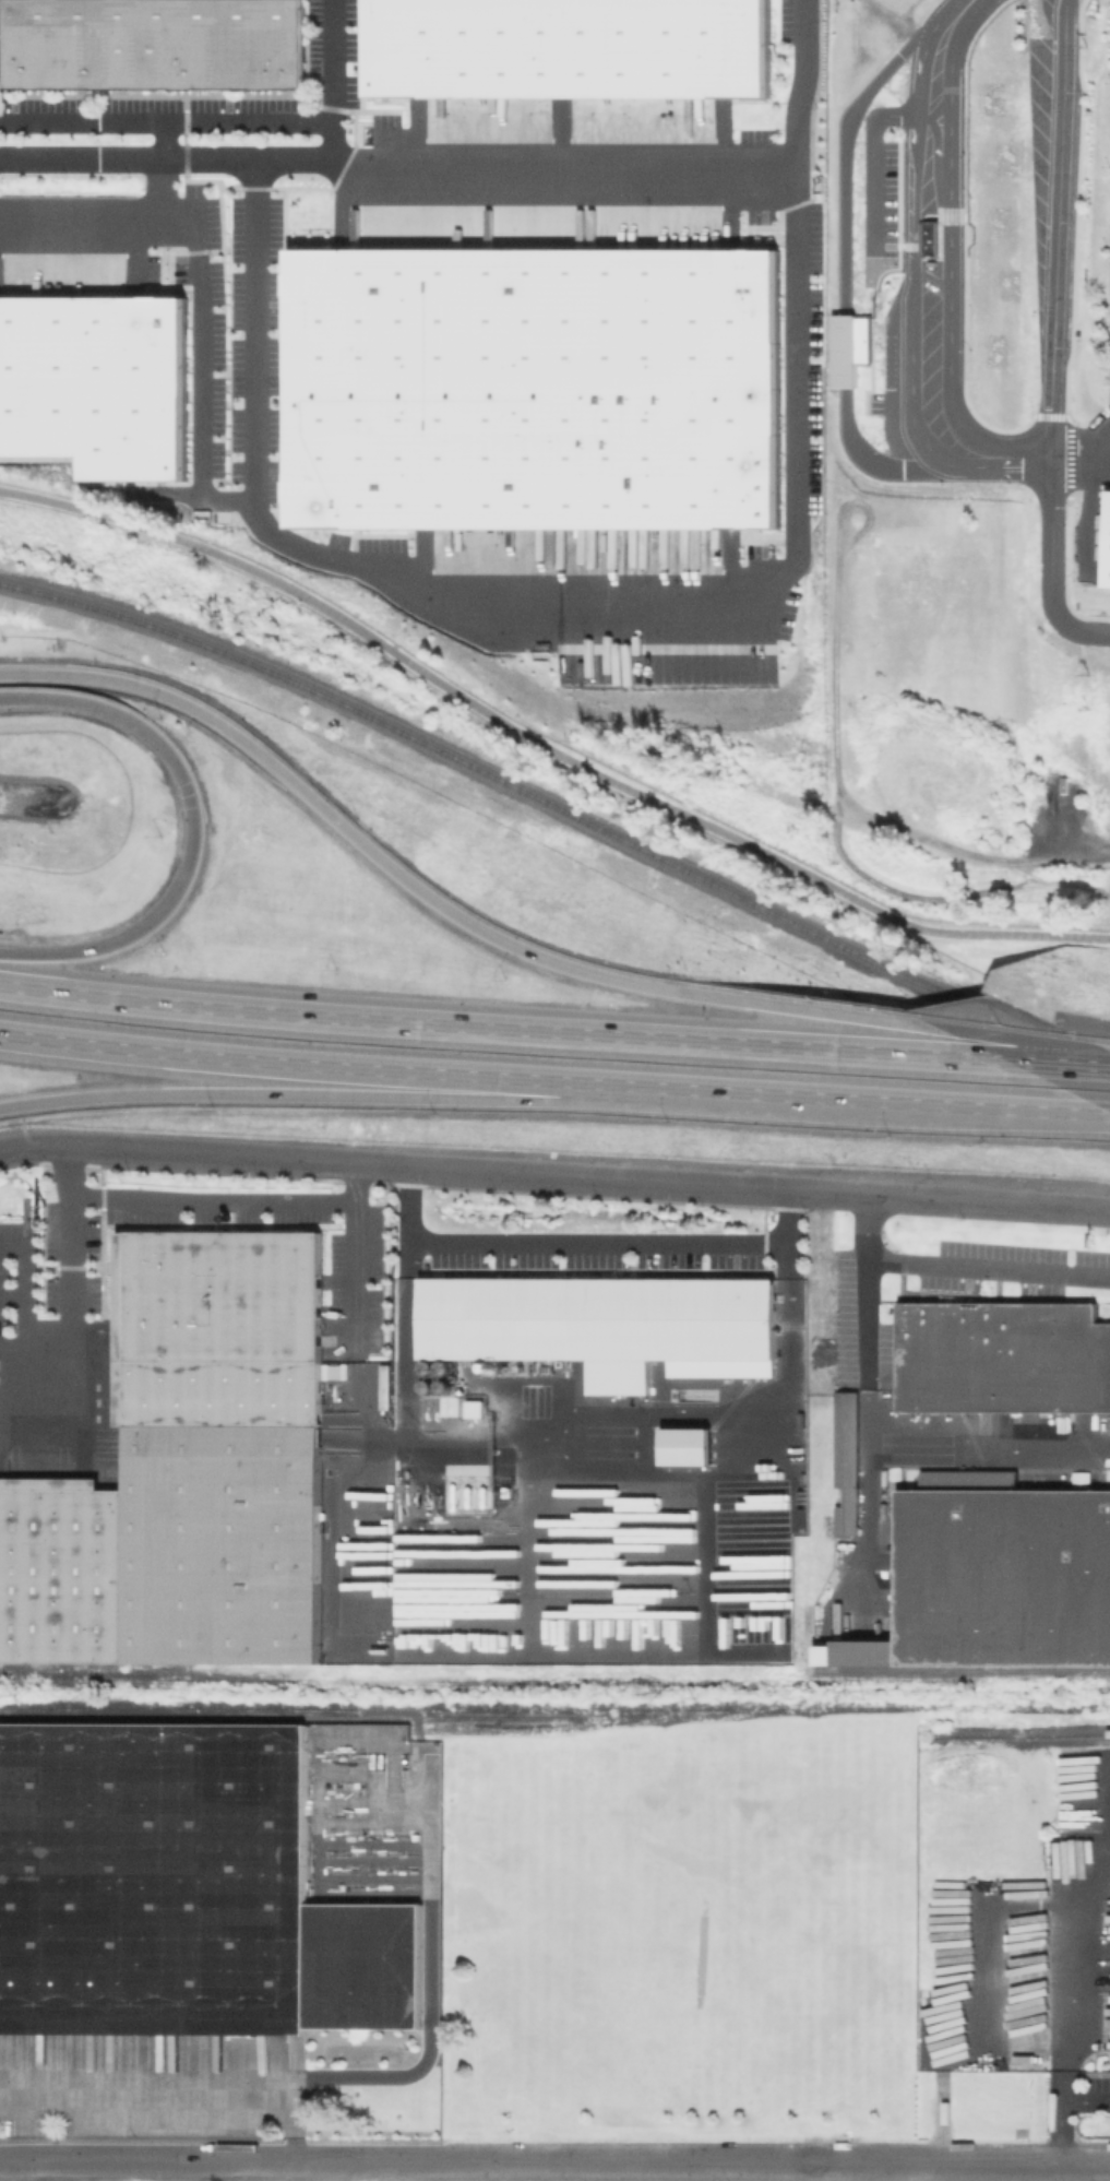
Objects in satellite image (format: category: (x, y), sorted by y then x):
building: (154, 43)
building: (569, 48)
road: (167, 118)
road: (847, 140)
road: (876, 149)
road: (247, 155)
road: (655, 174)
road: (133, 229)
building: (933, 238)
road: (951, 258)
road: (1059, 337)
building: (854, 347)
road: (844, 351)
road: (205, 370)
building: (95, 384)
building: (535, 390)
road: (1082, 449)
road: (886, 466)
building: (1105, 541)
road: (540, 603)
road: (199, 714)
road: (545, 747)
railway: (489, 772)
road: (196, 827)
road: (717, 996)
road: (554, 1030)
road: (553, 1079)
road: (385, 1095)
road: (405, 1166)
road: (216, 1200)
road: (960, 1201)
road: (589, 1242)
road: (358, 1263)
road: (991, 1269)
road: (29, 1283)
building: (600, 1319)
road: (74, 1330)
road: (37, 1348)
building: (1002, 1358)
road: (571, 1418)
road: (872, 1437)
building: (685, 1446)
building: (845, 1461)
building: (187, 1470)
building: (1003, 1578)
building: (856, 1652)
railway: (957, 1670)
railway: (150, 1683)
railway: (554, 1704)
railway: (404, 1716)
railway: (536, 1729)
railway: (1019, 1734)
building: (154, 1880)
park: (678, 1928)
road: (1070, 1958)
road: (155, 2096)
road: (1061, 2109)
road: (288, 2139)
road: (554, 2161)

